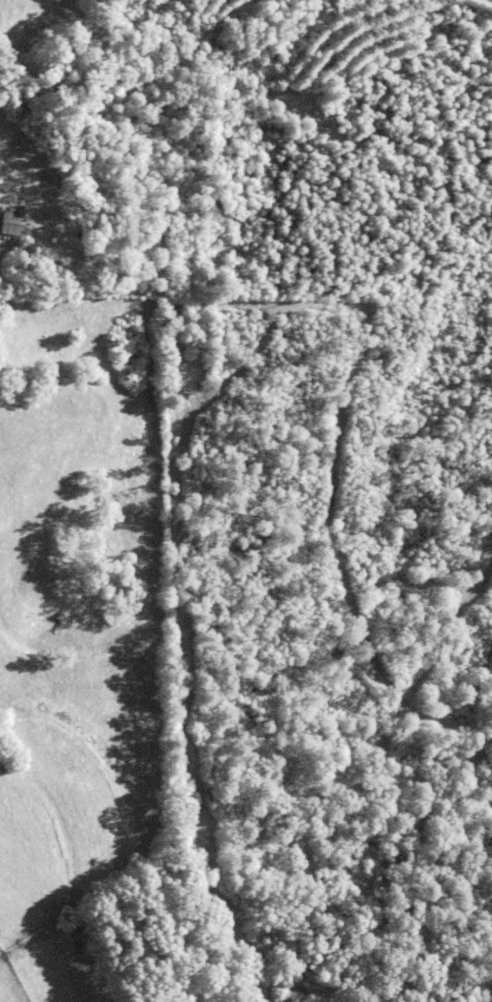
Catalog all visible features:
building: (11, 222)

